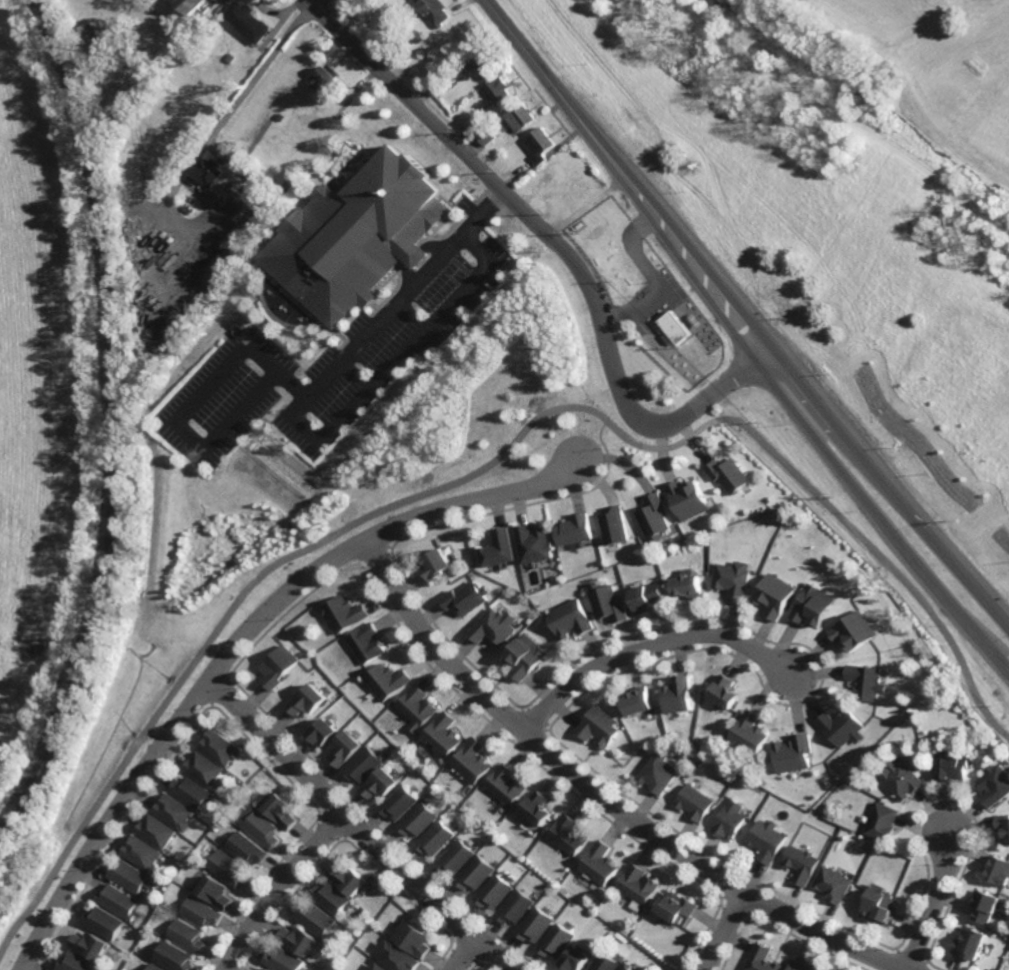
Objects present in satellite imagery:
building: (189, 5)
building: (434, 10)
building: (247, 20)
building: (88, 37)
building: (391, 56)
building: (229, 57)
building: (482, 65)
building: (324, 76)
building: (437, 86)
building: (500, 90)
building: (280, 115)
building: (520, 115)
building: (486, 116)
road: (220, 122)
building: (473, 123)
building: (495, 123)
building: (486, 134)
building: (540, 144)
building: (206, 170)
road: (623, 179)
park: (855, 180)
building: (550, 181)
building: (286, 186)
building: (579, 194)
building: (357, 235)
building: (235, 246)
road: (561, 247)
building: (532, 256)
building: (218, 268)
building: (676, 326)
building: (245, 330)
road: (188, 408)
railway: (111, 422)
road: (296, 422)
road: (665, 435)
road: (599, 441)
road: (487, 464)
building: (728, 475)
road: (888, 479)
building: (687, 497)
road: (880, 512)
building: (653, 516)
building: (613, 523)
building: (573, 528)
building: (533, 541)
building: (499, 546)
building: (435, 562)
building: (286, 565)
building: (604, 569)
building: (452, 572)
building: (558, 576)
building: (731, 578)
building: (686, 582)
building: (773, 593)
building: (647, 595)
building: (465, 597)
building: (607, 600)
building: (811, 603)
building: (344, 611)
building: (570, 617)
building: (494, 625)
building: (853, 629)
road: (245, 635)
building: (366, 641)
road: (649, 644)
building: (524, 654)
building: (278, 665)
building: (388, 679)
building: (865, 680)
building: (722, 690)
building: (678, 693)
building: (307, 698)
building: (638, 699)
building: (418, 705)
building: (387, 711)
building: (362, 715)
building: (841, 725)
building: (600, 726)
building: (323, 730)
building: (748, 731)
building: (444, 733)
building: (220, 747)
building: (345, 747)
building: (793, 752)
building: (473, 760)
building: (362, 764)
building: (951, 764)
building: (204, 767)
building: (660, 772)
building: (901, 777)
building: (380, 782)
building: (506, 783)
building: (994, 784)
building: (281, 789)
building: (190, 790)
road: (604, 796)
building: (693, 801)
building: (398, 802)
building: (537, 807)
building: (280, 808)
building: (175, 811)
building: (814, 812)
building: (418, 819)
building: (728, 819)
building: (881, 821)
building: (843, 824)
road: (362, 826)
building: (1003, 826)
building: (264, 828)
building: (156, 830)
building: (569, 834)
building: (436, 838)
building: (766, 839)
building: (492, 840)
building: (248, 848)
building: (877, 848)
building: (142, 852)
building: (456, 857)
building: (600, 863)
building: (800, 863)
building: (229, 867)
building: (998, 869)
building: (533, 871)
building: (476, 873)
building: (128, 875)
building: (347, 878)
building: (832, 883)
building: (639, 884)
road: (281, 886)
building: (563, 890)
building: (217, 891)
building: (495, 892)
building: (331, 896)
building: (119, 900)
road: (934, 903)
building: (572, 904)
building: (878, 904)
building: (985, 905)
building: (676, 906)
building: (516, 907)
building: (605, 911)
building: (202, 912)
building: (316, 918)
building: (372, 918)
building: (104, 922)
building: (536, 925)
road: (717, 929)
building: (608, 932)
building: (188, 935)
building: (615, 936)
building: (413, 939)
building: (299, 940)
building: (557, 941)
building: (968, 943)
building: (89, 945)
road: (463, 952)
building: (175, 957)
building: (398, 957)
building: (576, 958)
building: (284, 959)
building: (342, 959)
building: (761, 960)
building: (74, 963)
building: (606, 963)
building: (652, 964)
building: (628, 966)
building: (798, 966)
building: (155, 967)
building: (378, 967)
building: (267, 969)

